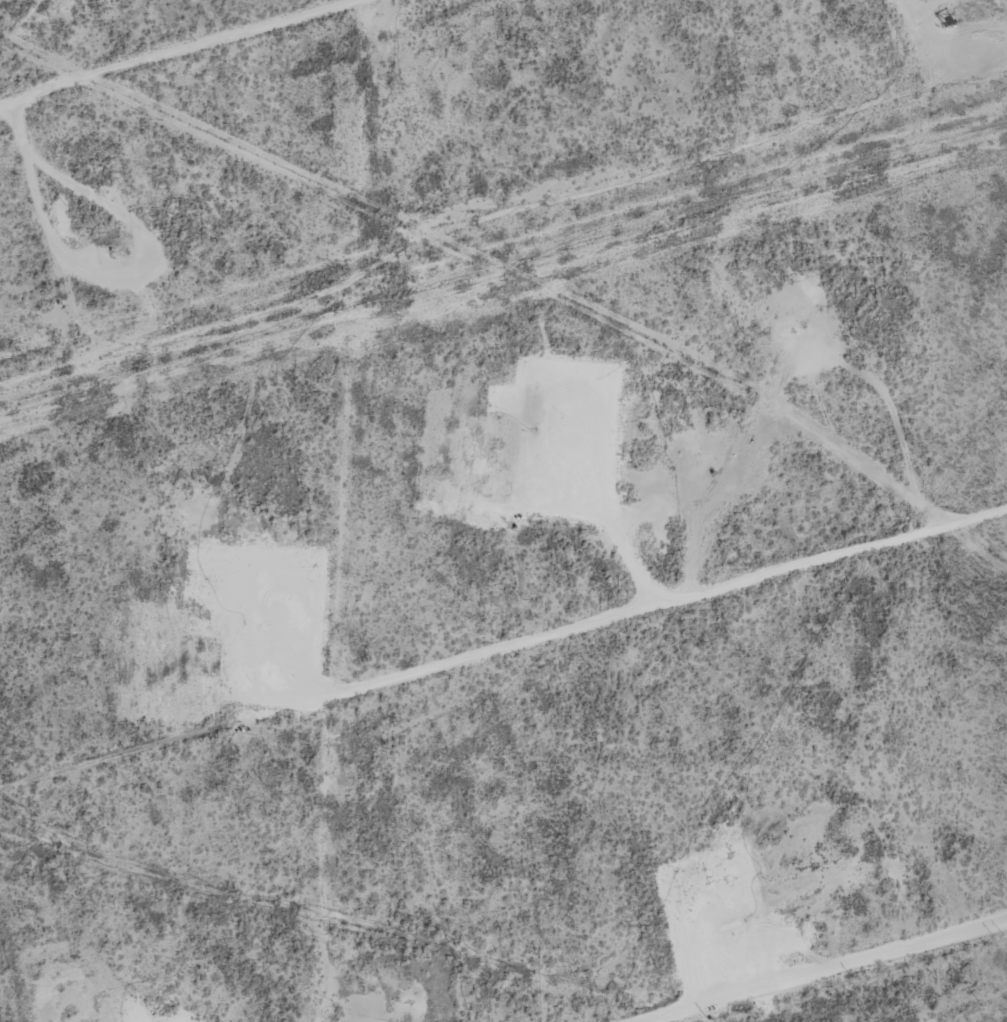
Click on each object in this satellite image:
road: (990, 60)
road: (503, 693)
road: (859, 981)

